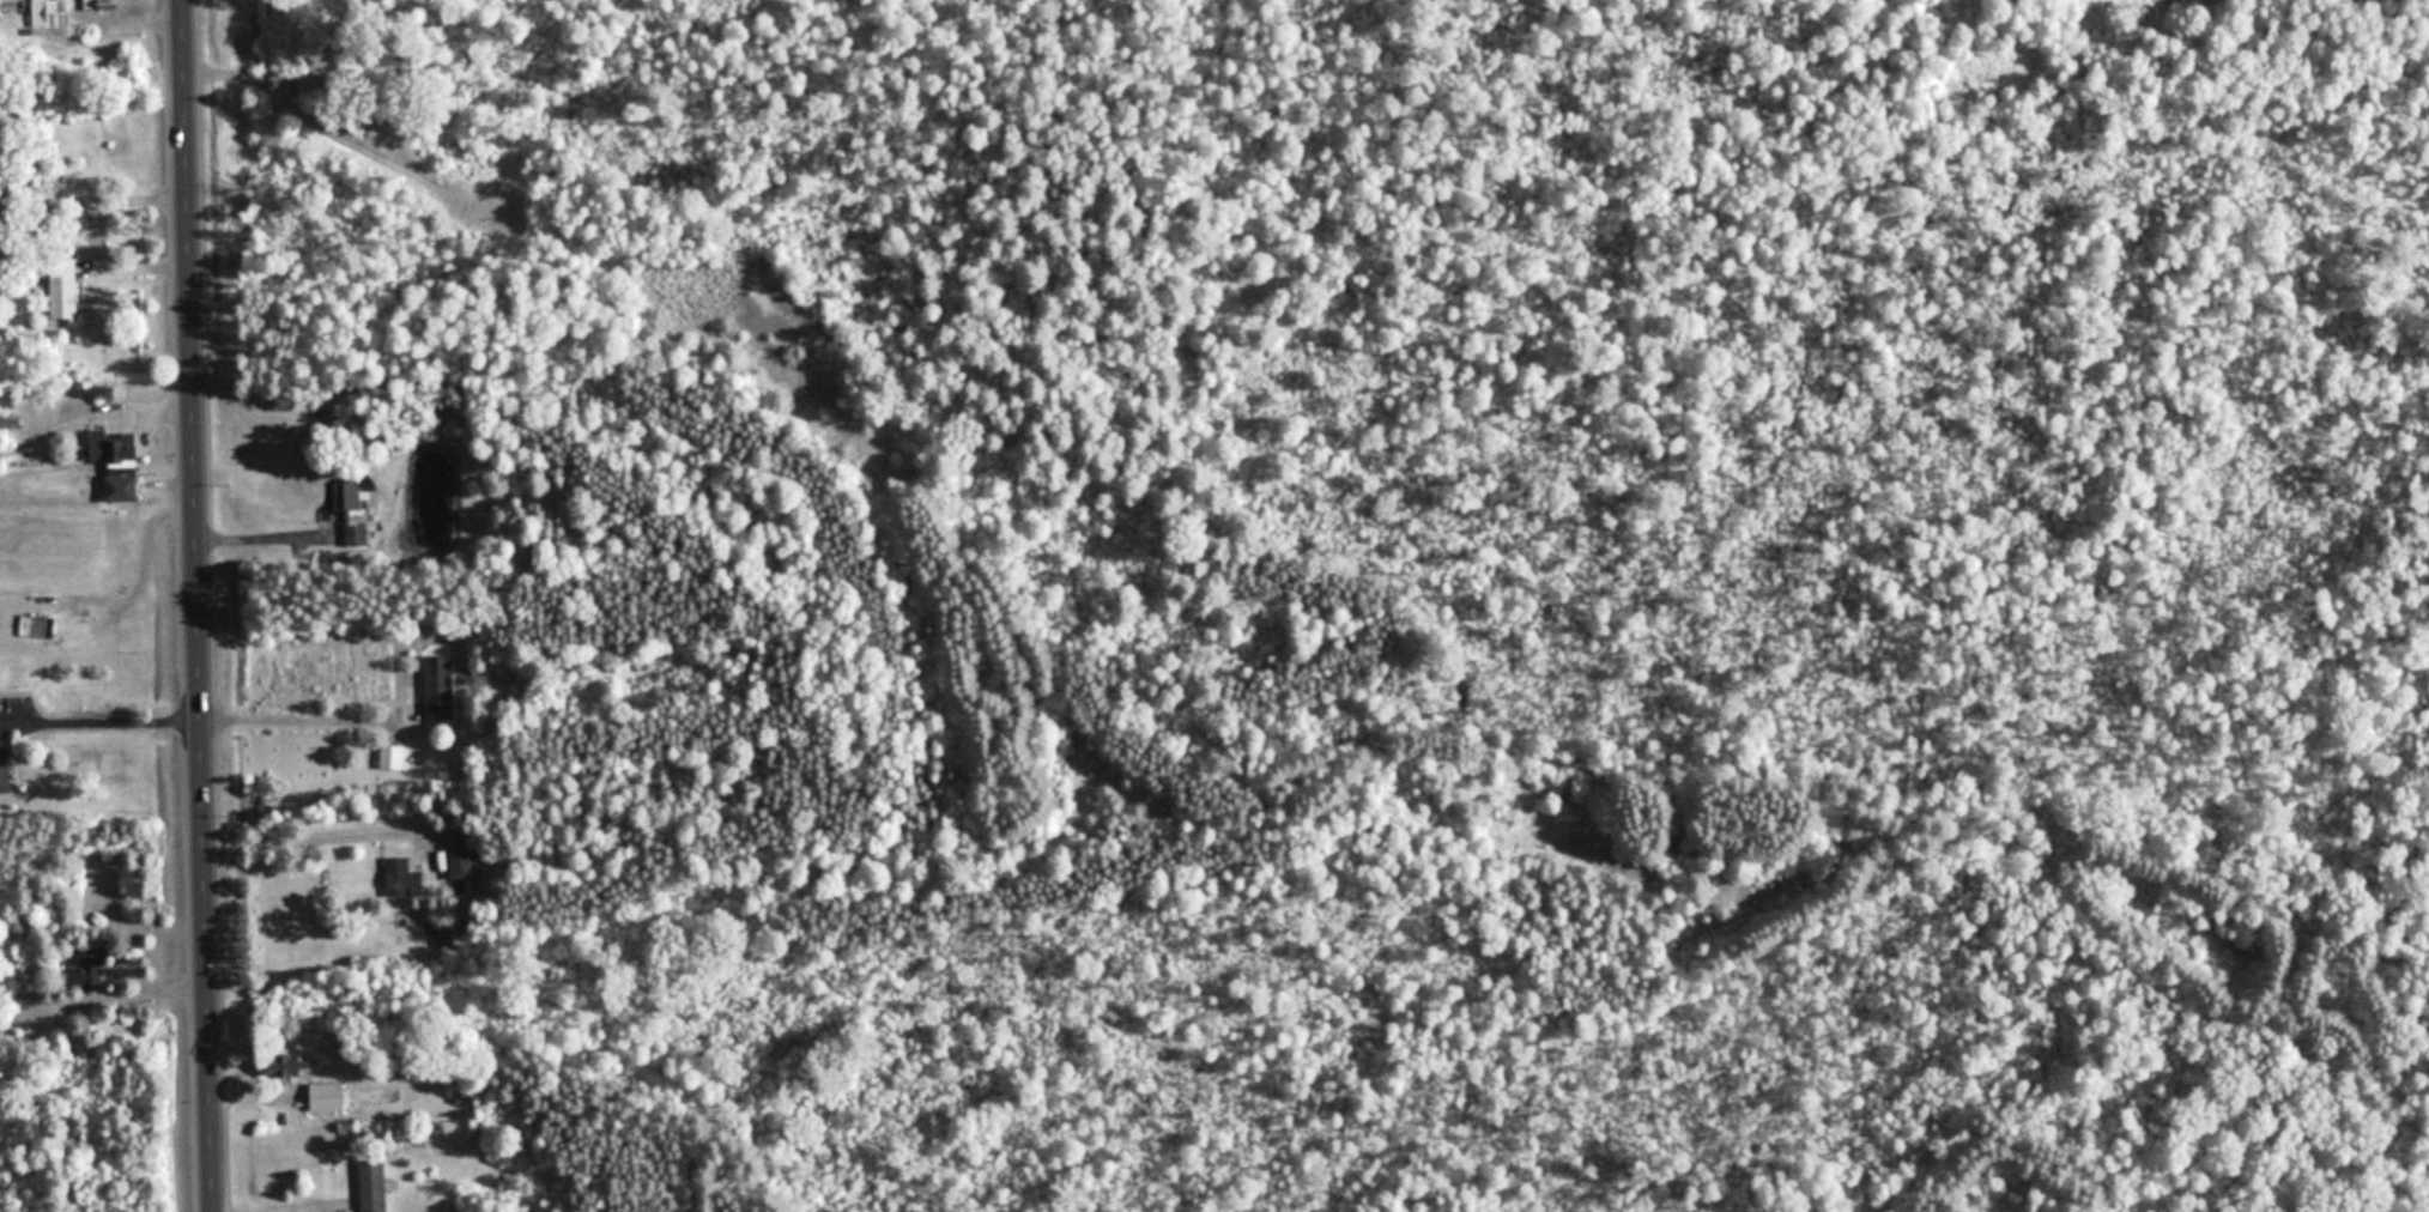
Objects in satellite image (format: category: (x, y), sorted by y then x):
building: (49, 13)
building: (63, 290)
building: (117, 460)
building: (349, 507)
road: (269, 537)
park: (1426, 581)
road: (200, 606)
building: (437, 686)
road: (309, 720)
road: (101, 721)
building: (392, 756)
building: (5, 769)
road: (326, 836)
building: (460, 863)
building: (402, 875)
building: (286, 1063)
building: (327, 1096)
building: (371, 1186)
road: (309, 1210)

